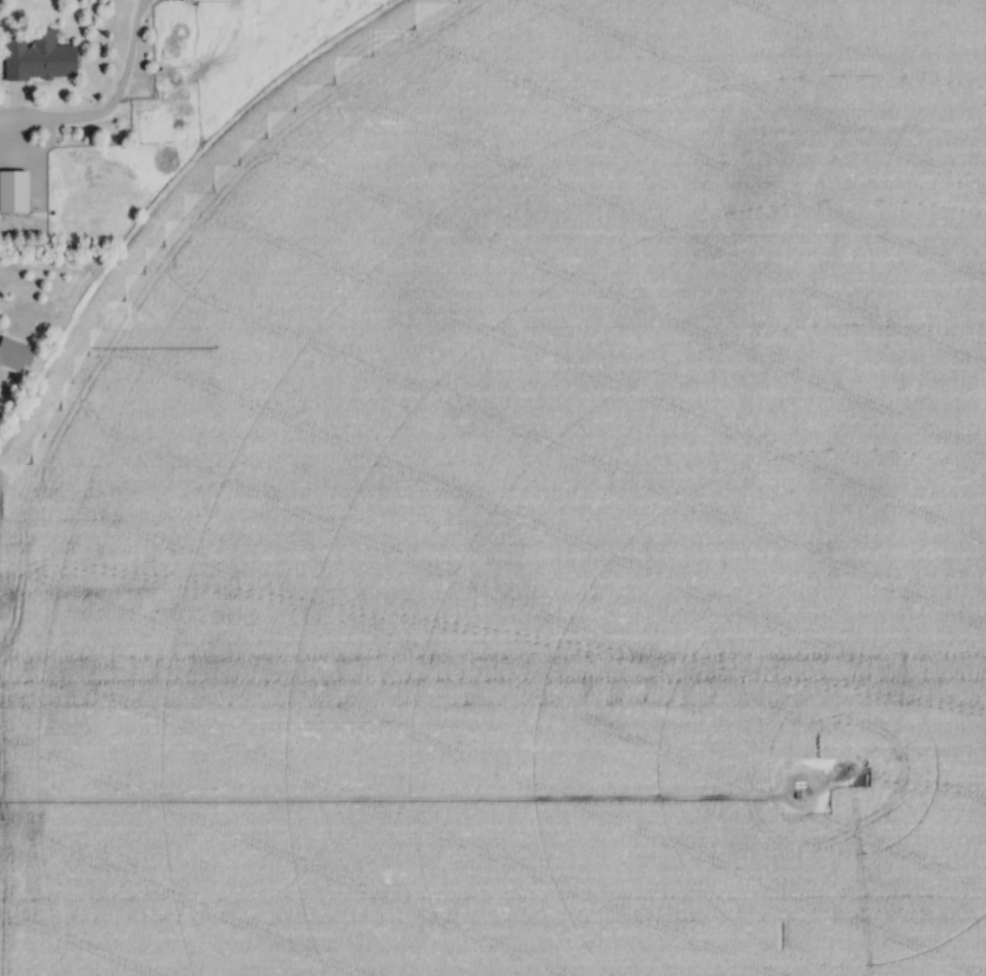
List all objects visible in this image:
building: (35, 57)
road: (13, 114)
building: (12, 192)
building: (14, 355)

